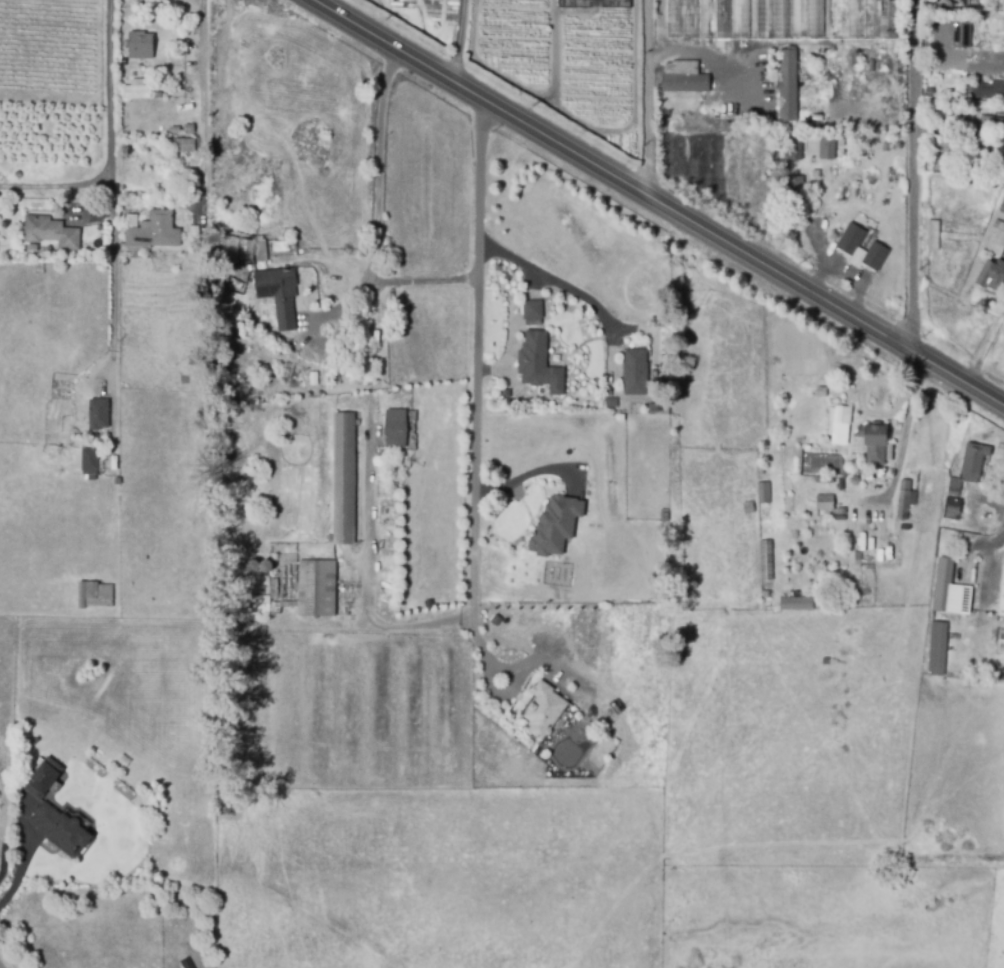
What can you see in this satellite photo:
building: (954, 3)
building: (706, 18)
building: (789, 19)
building: (872, 20)
building: (962, 36)
road: (463, 39)
building: (140, 53)
road: (702, 54)
road: (957, 60)
building: (681, 69)
building: (787, 87)
building: (686, 89)
building: (137, 91)
building: (987, 91)
building: (158, 96)
road: (651, 103)
road: (201, 106)
building: (999, 126)
building: (189, 127)
building: (184, 146)
building: (827, 146)
building: (793, 147)
building: (885, 148)
building: (943, 150)
building: (941, 166)
building: (815, 175)
road: (911, 179)
road: (619, 184)
building: (793, 186)
road: (57, 187)
road: (111, 188)
road: (375, 202)
building: (1002, 210)
building: (151, 233)
building: (51, 234)
building: (934, 237)
building: (851, 241)
building: (998, 241)
building: (261, 253)
building: (875, 257)
building: (991, 277)
road: (423, 282)
road: (542, 282)
building: (279, 296)
building: (533, 312)
road: (984, 352)
road: (476, 360)
building: (836, 360)
building: (539, 365)
building: (633, 374)
road: (957, 385)
building: (822, 393)
building: (610, 404)
building: (98, 415)
building: (838, 426)
building: (400, 430)
road: (904, 431)
building: (875, 449)
building: (89, 463)
building: (970, 463)
building: (112, 464)
building: (761, 472)
road: (523, 476)
building: (344, 480)
building: (824, 482)
building: (118, 483)
building: (954, 487)
building: (763, 493)
building: (905, 501)
building: (825, 507)
building: (950, 508)
building: (748, 509)
building: (840, 519)
building: (556, 527)
building: (889, 527)
building: (765, 530)
building: (859, 557)
building: (878, 557)
building: (766, 562)
road: (367, 572)
building: (316, 589)
building: (949, 590)
building: (864, 592)
building: (764, 595)
building: (1001, 595)
building: (94, 596)
building: (796, 605)
building: (937, 649)
building: (543, 709)
building: (43, 777)
building: (43, 816)
building: (68, 835)
road: (19, 871)

